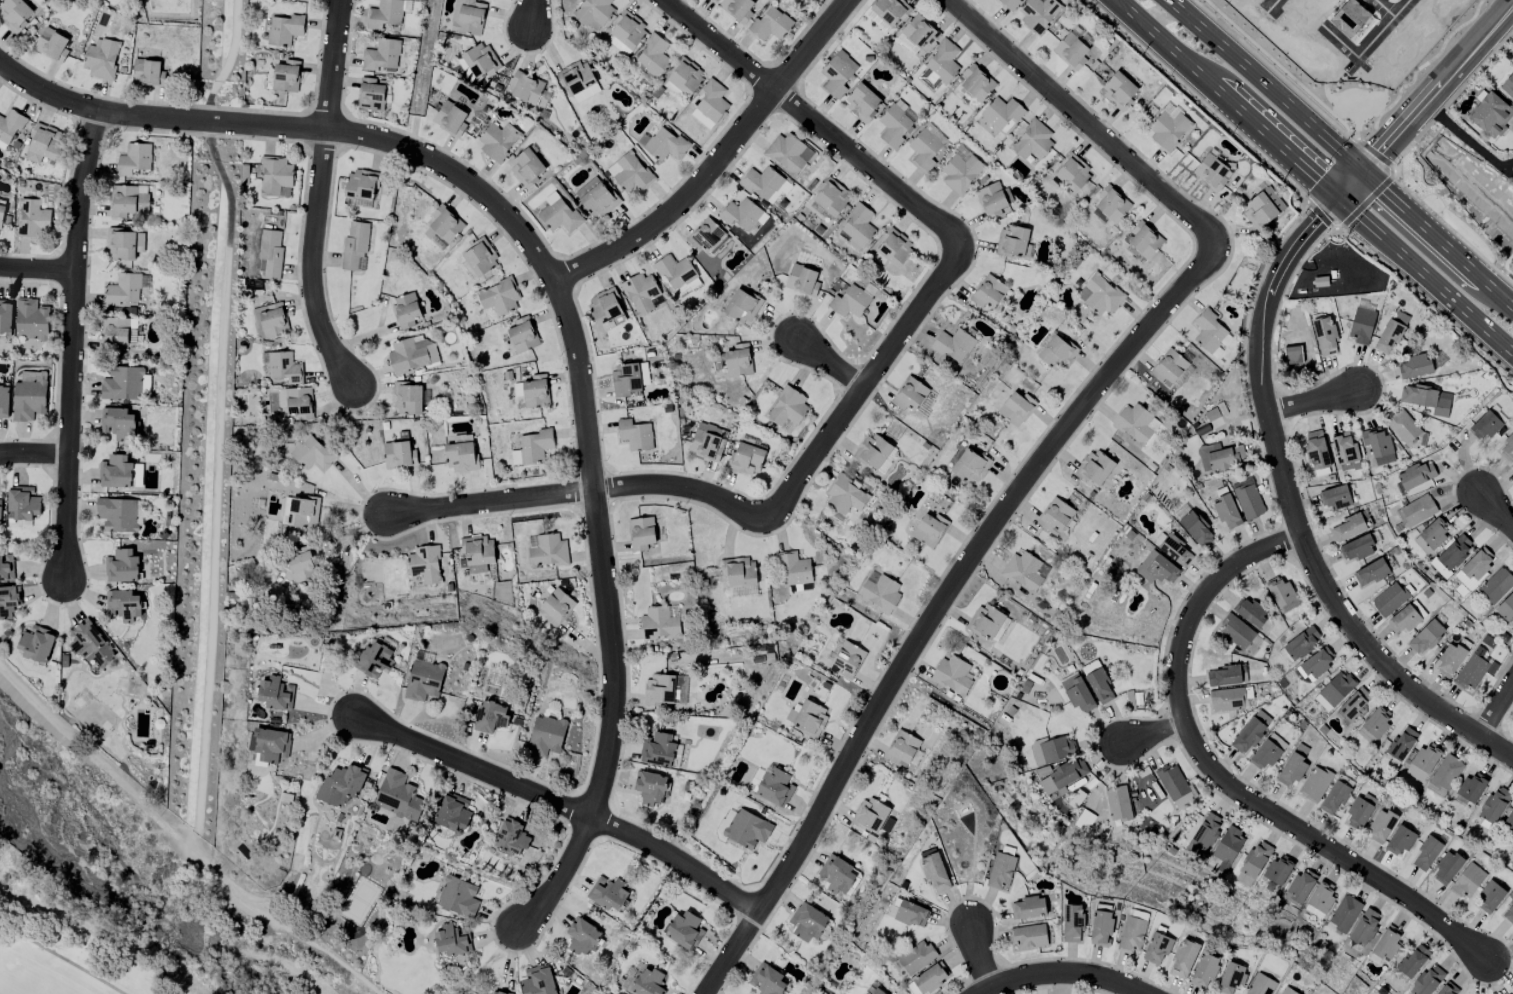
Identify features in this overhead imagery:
building: (717, 0)
building: (1009, 4)
building: (738, 9)
building: (890, 11)
road: (534, 12)
building: (594, 13)
building: (1038, 13)
building: (15, 14)
building: (384, 14)
road: (1390, 16)
building: (468, 17)
building: (770, 25)
building: (284, 30)
building: (628, 30)
building: (919, 32)
road: (1373, 37)
building: (52, 45)
building: (1071, 52)
building: (381, 55)
building: (653, 55)
road: (428, 57)
building: (102, 59)
building: (480, 61)
building: (943, 62)
road: (1268, 67)
building: (148, 73)
building: (286, 76)
building: (685, 77)
building: (837, 77)
building: (576, 78)
building: (977, 82)
road: (1265, 85)
building: (1508, 85)
building: (526, 88)
building: (1119, 90)
building: (371, 95)
road: (1194, 95)
road: (1226, 99)
building: (712, 101)
building: (864, 102)
road: (1425, 102)
building: (1170, 110)
building: (1002, 113)
building: (1491, 115)
building: (450, 119)
building: (702, 119)
road: (812, 123)
building: (10, 125)
building: (895, 126)
building: (1168, 130)
road: (416, 133)
road: (1369, 138)
building: (498, 140)
road: (1468, 141)
building: (1033, 142)
building: (44, 144)
building: (666, 145)
building: (925, 150)
building: (787, 152)
road: (1376, 154)
building: (134, 159)
road: (718, 161)
building: (527, 167)
building: (1211, 171)
building: (961, 172)
traffic signals: (1363, 172)
building: (632, 173)
building: (1073, 174)
building: (275, 176)
building: (764, 182)
road: (1395, 182)
building: (361, 185)
park: (1463, 185)
road: (317, 196)
building: (833, 196)
traffic signals: (1338, 199)
building: (127, 201)
building: (599, 201)
building: (992, 201)
building: (357, 203)
building: (1112, 204)
road: (1368, 205)
building: (1263, 208)
building: (1, 212)
building: (743, 214)
building: (560, 216)
building: (32, 218)
road: (1305, 218)
road: (1322, 218)
building: (445, 225)
building: (859, 225)
road: (1351, 232)
building: (705, 235)
road: (1457, 235)
building: (435, 239)
road: (1437, 239)
building: (1013, 240)
building: (1144, 240)
building: (124, 244)
building: (354, 244)
building: (896, 247)
building: (271, 253)
building: (480, 258)
road: (37, 270)
building: (676, 271)
road: (1425, 275)
building: (804, 280)
building: (123, 290)
building: (641, 292)
building: (989, 292)
building: (1101, 295)
road: (1270, 295)
building: (499, 297)
building: (851, 302)
road: (1282, 303)
building: (606, 305)
road: (1434, 305)
building: (744, 306)
road: (564, 307)
building: (406, 310)
building: (5, 316)
building: (1401, 318)
building: (31, 320)
building: (273, 321)
building: (1361, 326)
building: (1209, 331)
building: (115, 332)
building: (522, 335)
building: (1389, 336)
road: (358, 339)
road: (73, 344)
building: (954, 345)
building: (1058, 352)
building: (412, 355)
building: (1293, 355)
building: (740, 361)
road: (834, 361)
road: (1246, 362)
building: (284, 367)
building: (1414, 367)
building: (1169, 368)
building: (644, 374)
building: (627, 379)
road: (1382, 383)
building: (122, 384)
building: (145, 384)
building: (536, 391)
building: (911, 394)
road: (1286, 397)
building: (407, 398)
building: (1427, 399)
building: (29, 400)
building: (4, 402)
road: (1311, 402)
building: (299, 403)
road: (221, 404)
building: (790, 406)
building: (1017, 407)
road: (1284, 408)
park: (207, 415)
building: (117, 423)
building: (1135, 423)
building: (1485, 426)
building: (1403, 427)
building: (637, 434)
road: (1285, 437)
building: (707, 445)
building: (536, 446)
building: (1378, 446)
building: (1507, 448)
building: (1316, 450)
building: (1344, 450)
building: (873, 451)
building: (312, 453)
road: (1047, 453)
road: (34, 454)
building: (399, 455)
building: (460, 457)
building: (515, 457)
building: (1220, 457)
building: (747, 458)
building: (972, 466)
building: (1512, 466)
building: (1096, 467)
building: (115, 472)
building: (137, 474)
building: (1417, 475)
road: (1455, 487)
building: (846, 495)
building: (1334, 497)
building: (1249, 501)
building: (23, 504)
road: (743, 507)
building: (300, 511)
building: (1417, 511)
building: (1181, 512)
building: (1227, 512)
building: (117, 514)
road: (1496, 514)
building: (0, 515)
building: (1055, 516)
road: (1294, 519)
road: (1283, 521)
building: (1347, 528)
building: (931, 529)
building: (1197, 529)
building: (642, 533)
building: (1431, 537)
road: (1282, 541)
building: (1357, 548)
building: (1175, 550)
building: (477, 551)
building: (548, 551)
road: (1308, 552)
building: (1455, 552)
building: (425, 564)
building: (301, 565)
road: (1301, 566)
building: (122, 567)
building: (6, 568)
building: (795, 568)
building: (1439, 568)
building: (477, 569)
building: (1157, 569)
building: (1474, 569)
building: (1023, 571)
building: (741, 572)
building: (1371, 573)
building: (1496, 585)
road: (1344, 592)
building: (882, 593)
building: (1281, 593)
building: (1389, 599)
road: (1186, 600)
building: (9, 601)
building: (123, 606)
building: (556, 606)
building: (1506, 608)
building: (1251, 611)
road: (1343, 618)
building: (1407, 618)
building: (662, 622)
building: (986, 622)
building: (1236, 632)
building: (1426, 637)
building: (1302, 643)
building: (36, 644)
building: (91, 644)
building: (849, 659)
building: (374, 660)
building: (1450, 661)
building: (1316, 664)
building: (1090, 667)
building: (1475, 669)
building: (953, 675)
building: (1223, 676)
building: (424, 680)
road: (1498, 682)
building: (1100, 686)
road: (1388, 688)
building: (661, 690)
building: (1334, 691)
building: (276, 694)
building: (1078, 694)
building: (1227, 700)
building: (1354, 705)
road: (1168, 709)
road: (1496, 709)
road: (1483, 710)
road: (1509, 713)
building: (490, 717)
building: (809, 718)
road: (1487, 722)
building: (1374, 725)
road: (1461, 726)
road: (1169, 728)
building: (1251, 732)
road: (1154, 733)
building: (546, 736)
road: (1191, 737)
road: (1507, 741)
road: (1511, 741)
building: (269, 744)
building: (1401, 744)
road: (1183, 747)
building: (902, 748)
building: (659, 749)
building: (1057, 749)
road: (1496, 750)
road: (1097, 751)
building: (1268, 752)
building: (1423, 762)
building: (1291, 771)
building: (1444, 775)
building: (1063, 776)
road: (1223, 781)
building: (1315, 784)
building: (341, 785)
building: (650, 787)
building: (1472, 787)
building: (776, 788)
building: (398, 796)
building: (1334, 798)
building: (1118, 803)
road: (565, 805)
building: (1494, 805)
building: (1359, 811)
building: (452, 812)
building: (871, 815)
building: (1084, 820)
building: (1509, 823)
building: (1381, 826)
building: (748, 829)
building: (1204, 835)
building: (511, 838)
building: (1400, 841)
building: (1226, 849)
building: (1427, 853)
building: (1253, 863)
building: (1447, 868)
building: (1001, 871)
building: (1278, 871)
building: (935, 872)
building: (837, 874)
building: (1468, 881)
building: (1300, 886)
building: (608, 894)
building: (458, 897)
building: (1490, 897)
building: (1320, 899)
road: (961, 902)
building: (1028, 908)
road: (1446, 911)
building: (1345, 913)
building: (1508, 913)
building: (911, 914)
building: (809, 922)
building: (1073, 922)
building: (1365, 927)
building: (1101, 928)
building: (684, 930)
building: (1131, 934)
building: (582, 936)
building: (1029, 937)
building: (452, 941)
building: (1385, 944)
building: (1157, 949)
road: (979, 955)
building: (916, 957)
park: (74, 958)
building: (1184, 959)
building: (1413, 960)
road: (1097, 964)
road: (982, 968)
road: (1011, 968)
building: (1205, 971)
road: (1060, 973)
building: (1232, 977)
building: (931, 978)
building: (641, 980)
building: (767, 980)
building: (1428, 980)
building: (538, 981)
road: (1012, 981)
building: (1263, 985)
road: (1061, 988)
road: (966, 989)
building: (1449, 989)
building: (873, 990)
road: (969, 991)
building: (1288, 991)
building: (499, 992)
road: (958, 992)

